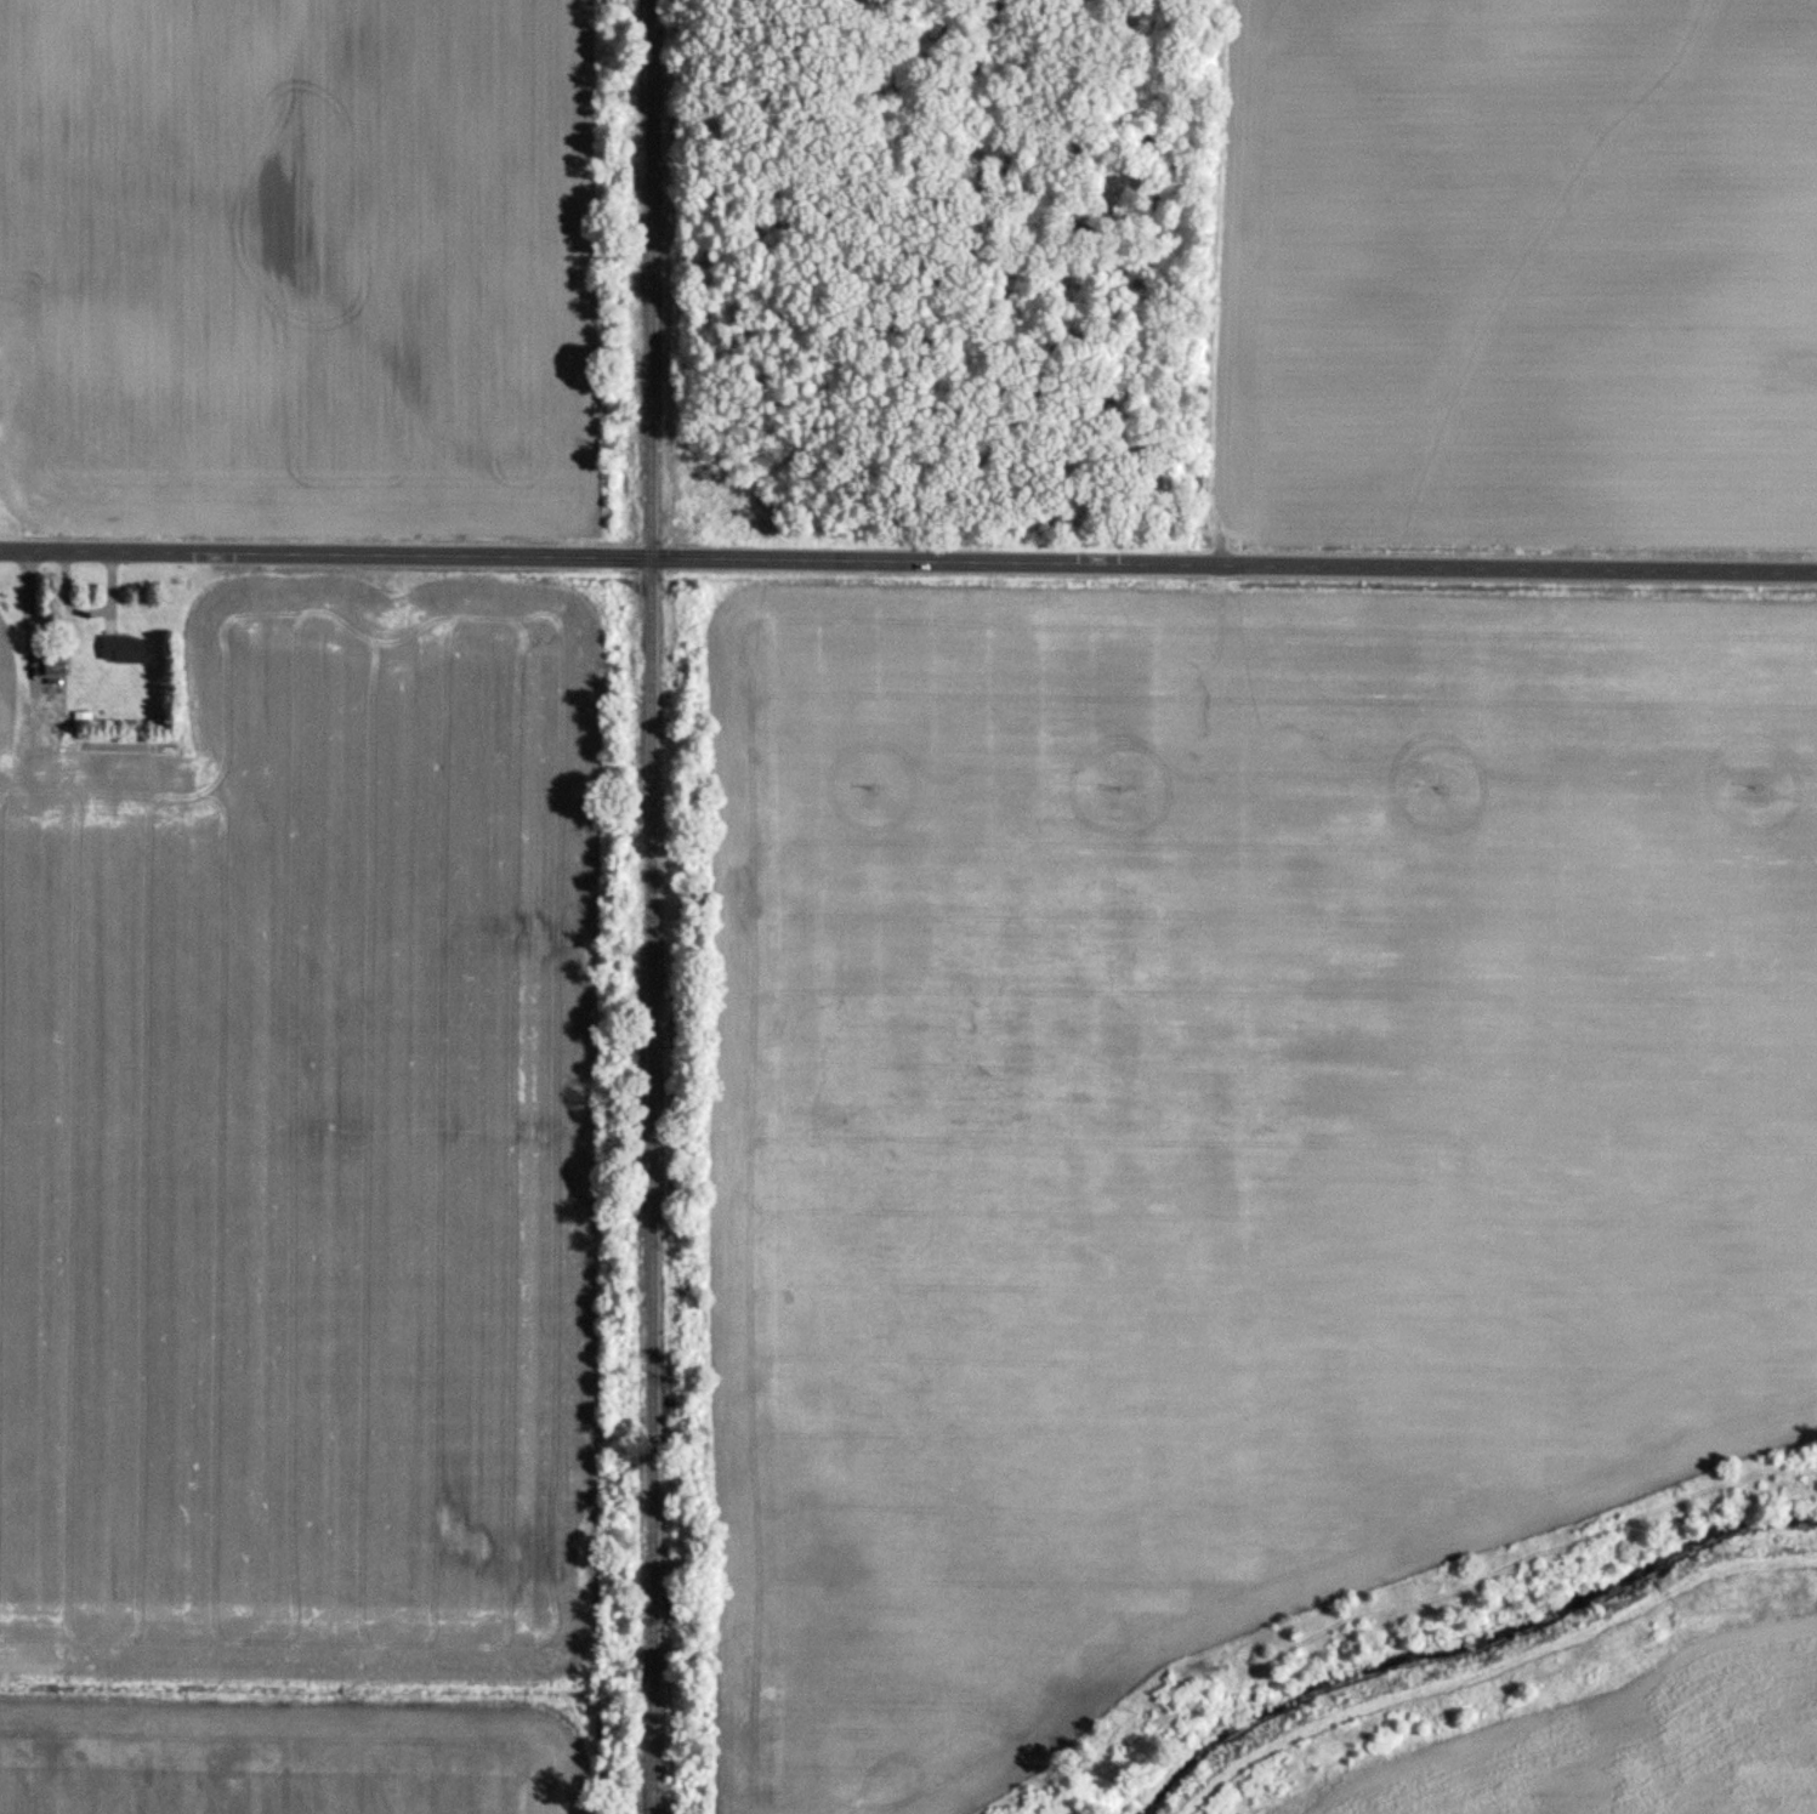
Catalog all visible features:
road: (908, 562)
building: (119, 650)
railway: (651, 906)

